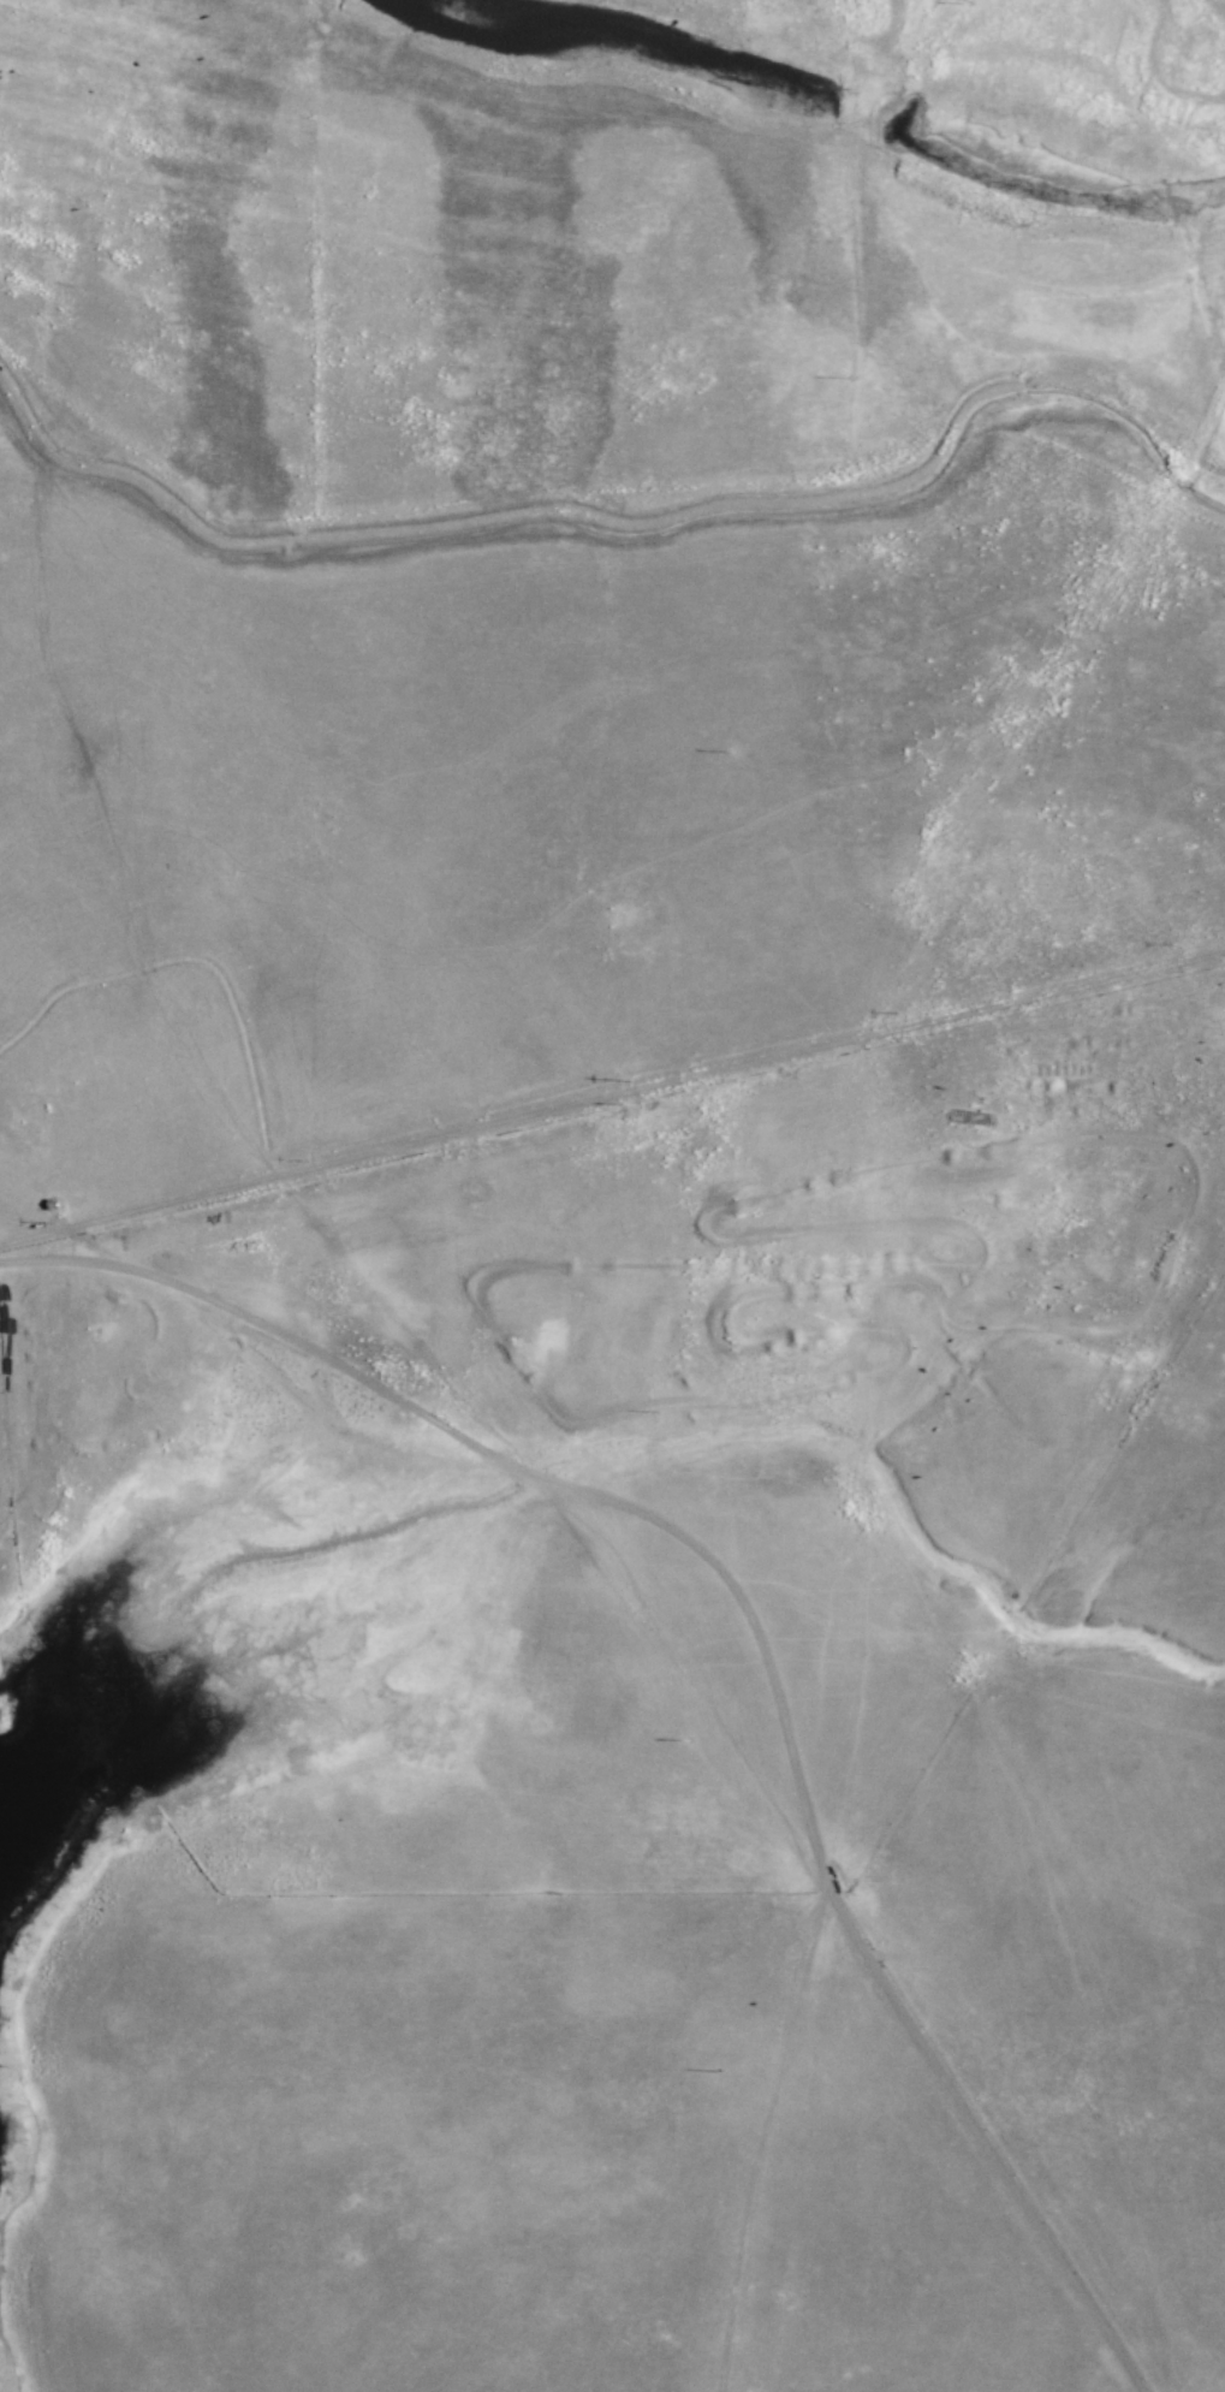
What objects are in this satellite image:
road: (612, 1102)
road: (803, 1781)

